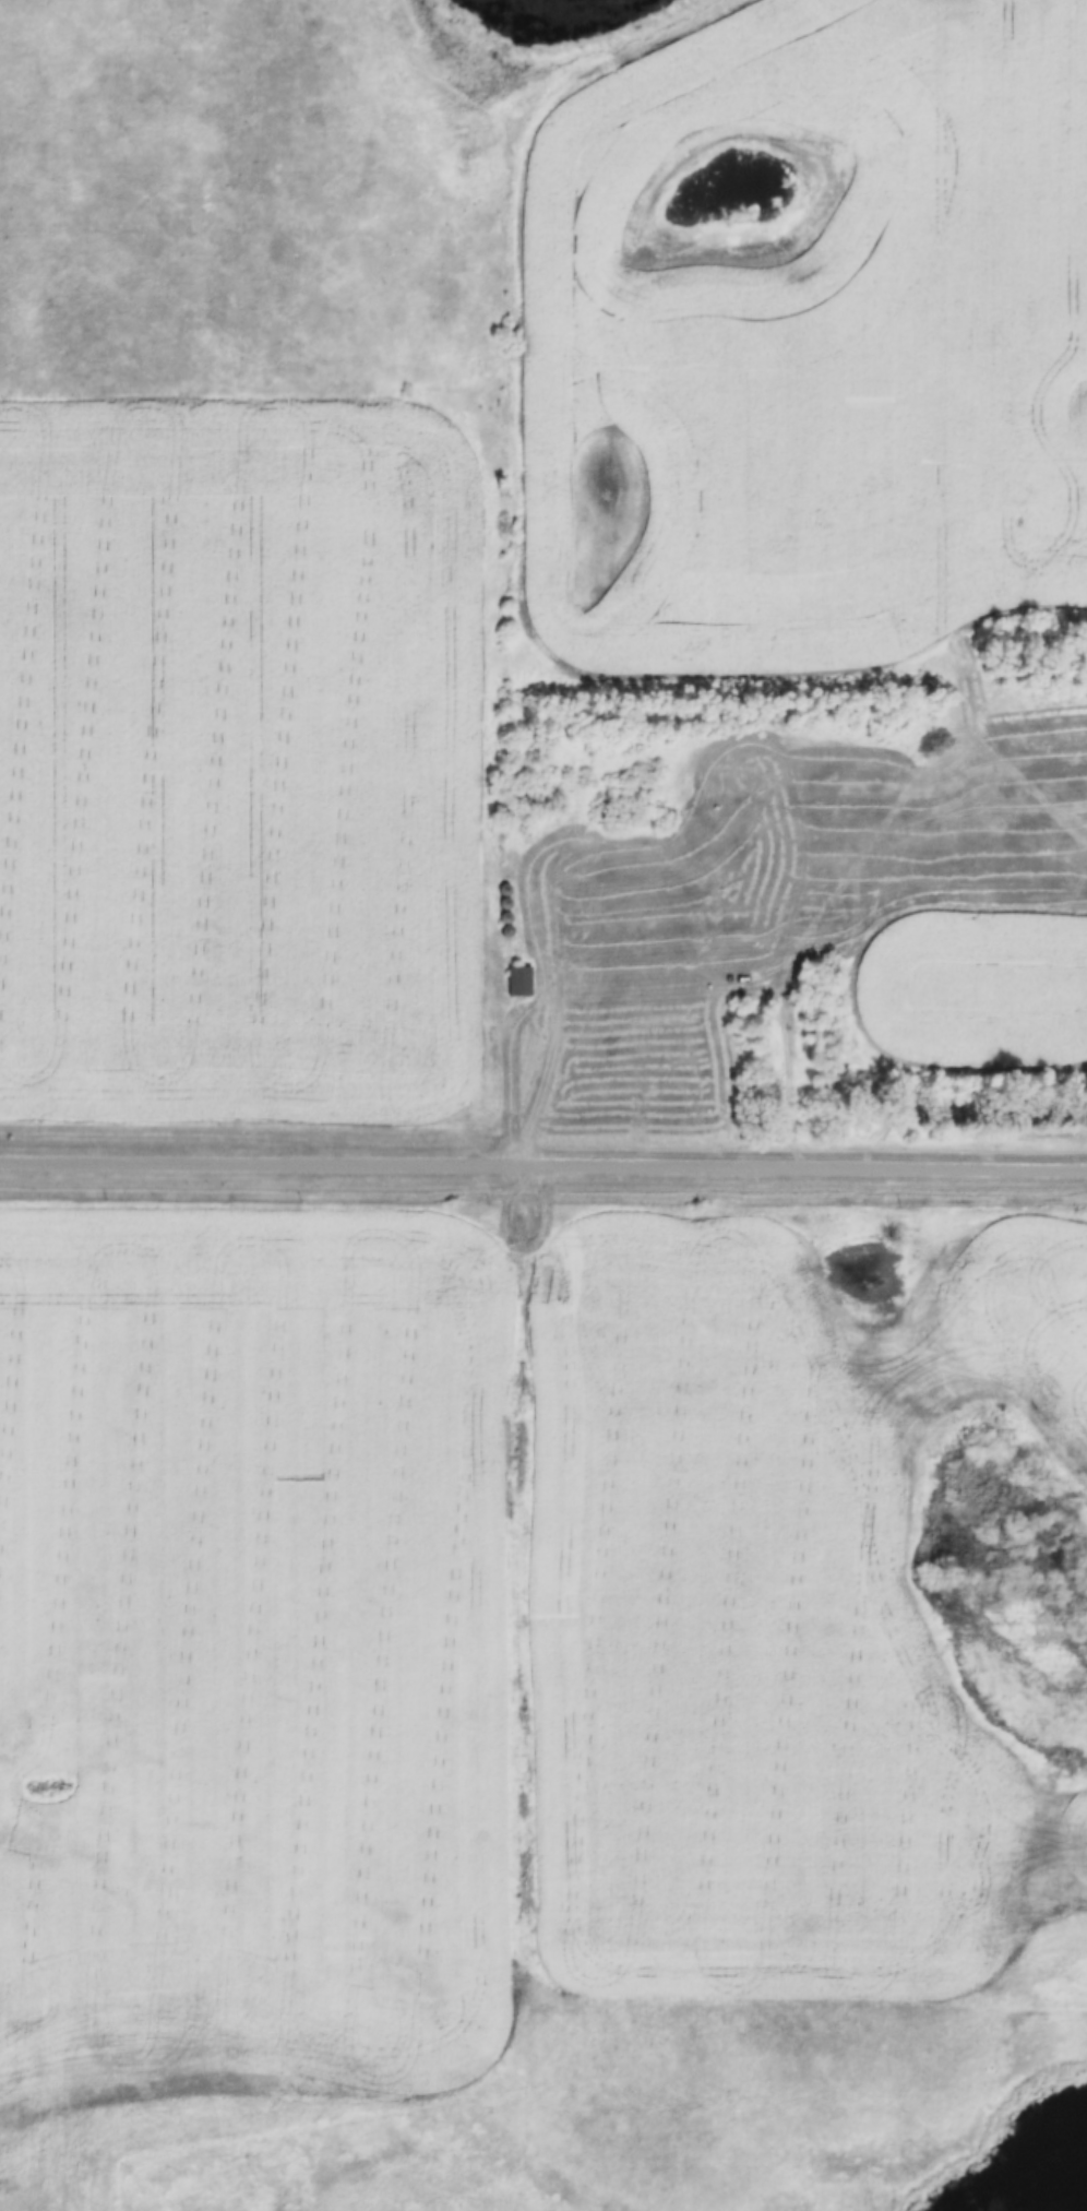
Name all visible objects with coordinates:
building: (524, 984)
building: (618, 1047)
road: (554, 1055)
road: (542, 1165)

